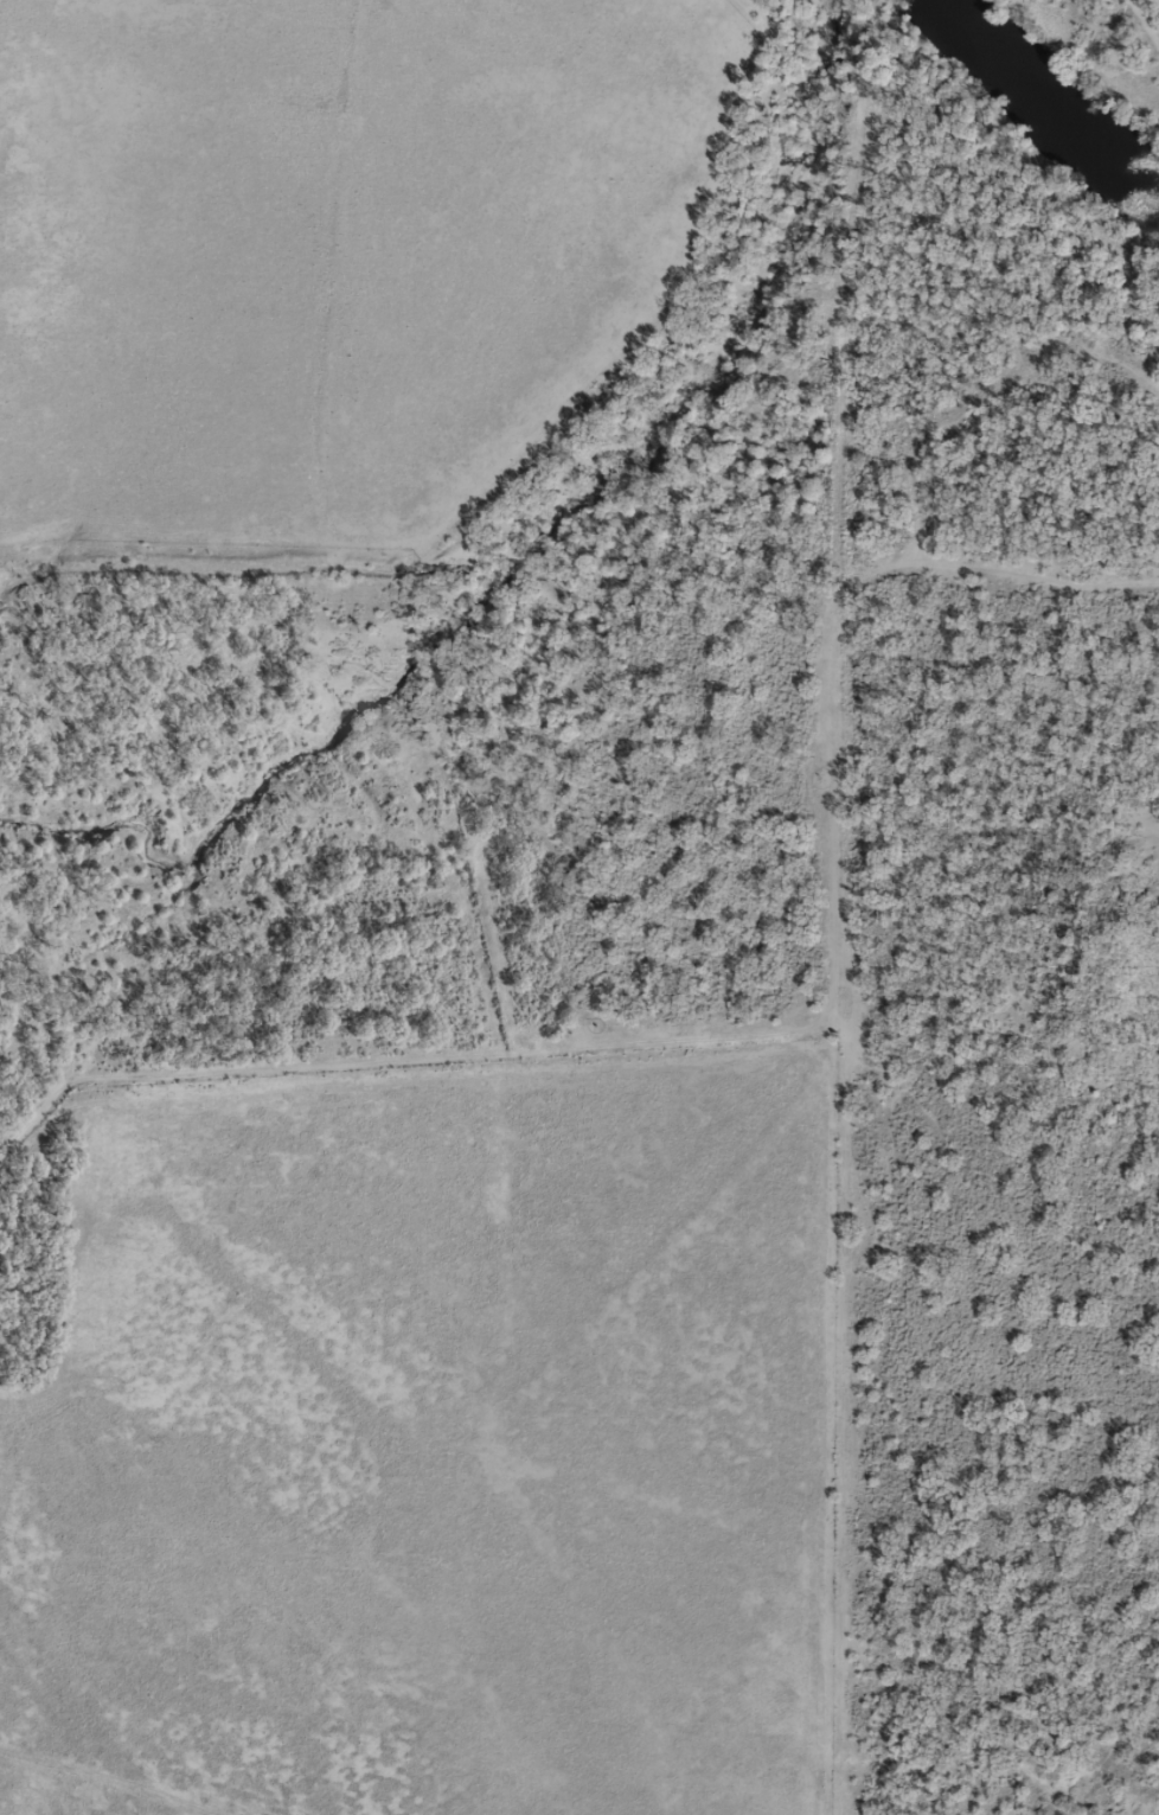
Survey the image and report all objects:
river: (1050, 106)

